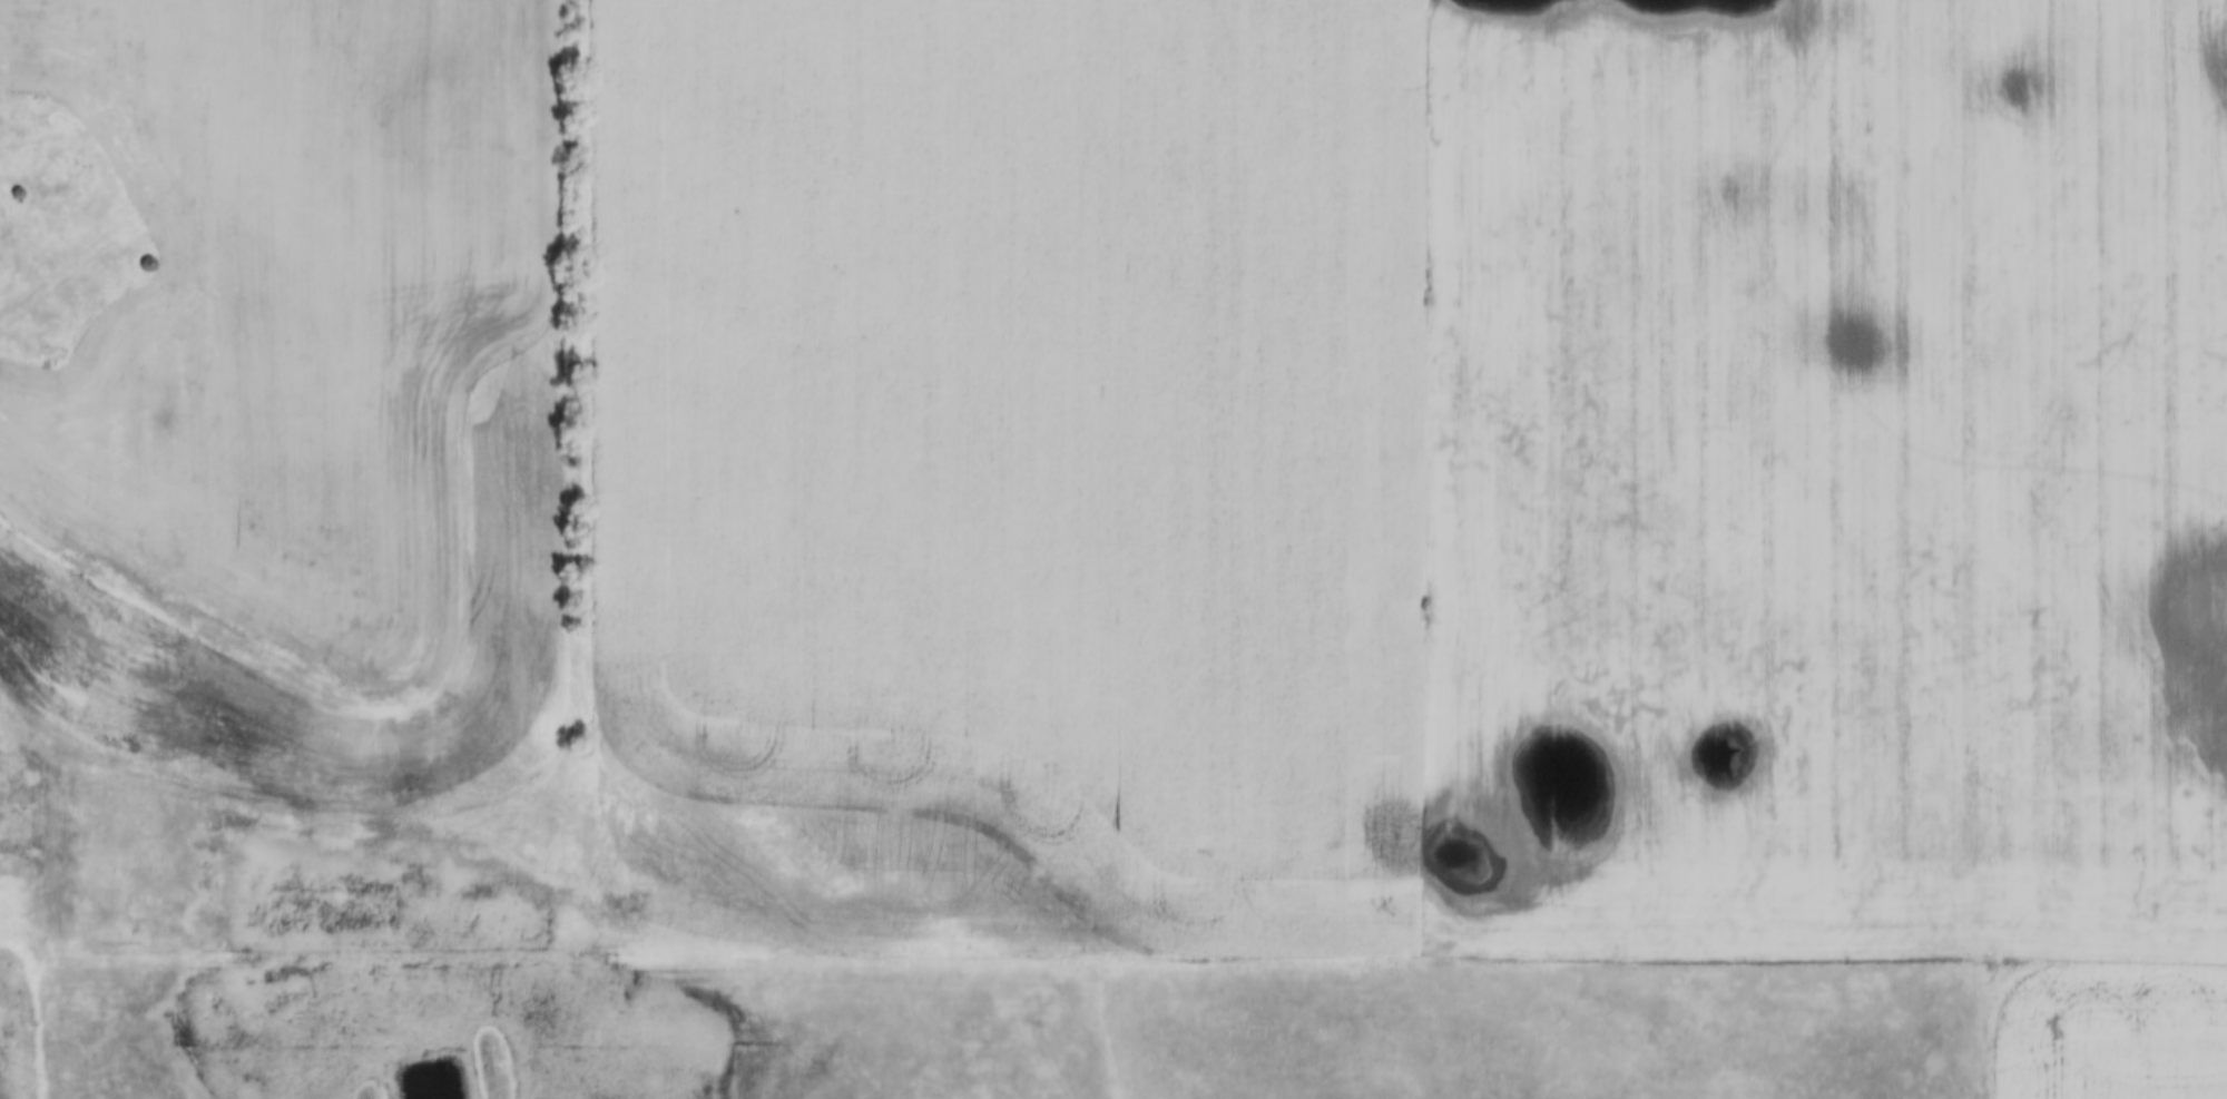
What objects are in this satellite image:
road: (41, 287)

